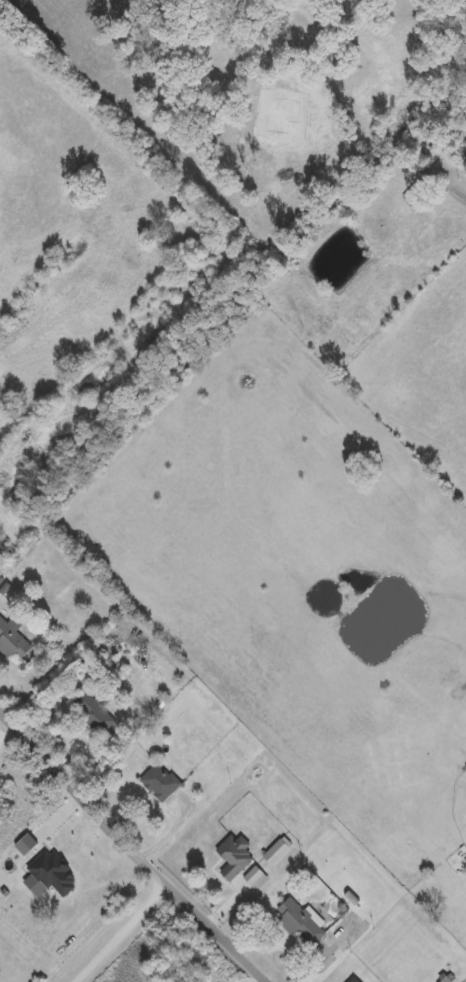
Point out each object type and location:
road: (277, 13)
building: (411, 193)
building: (2, 542)
building: (12, 637)
building: (85, 663)
building: (92, 710)
building: (159, 779)
road: (79, 790)
building: (276, 849)
building: (234, 854)
building: (255, 876)
building: (300, 919)
road: (216, 927)
road: (121, 930)
building: (355, 978)
building: (444, 979)

